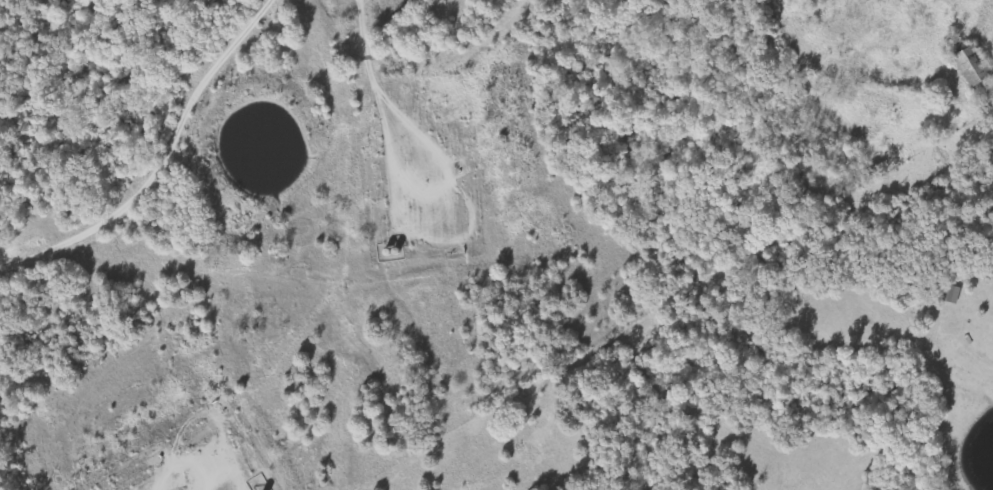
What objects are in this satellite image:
building: (977, 68)
building: (954, 294)

